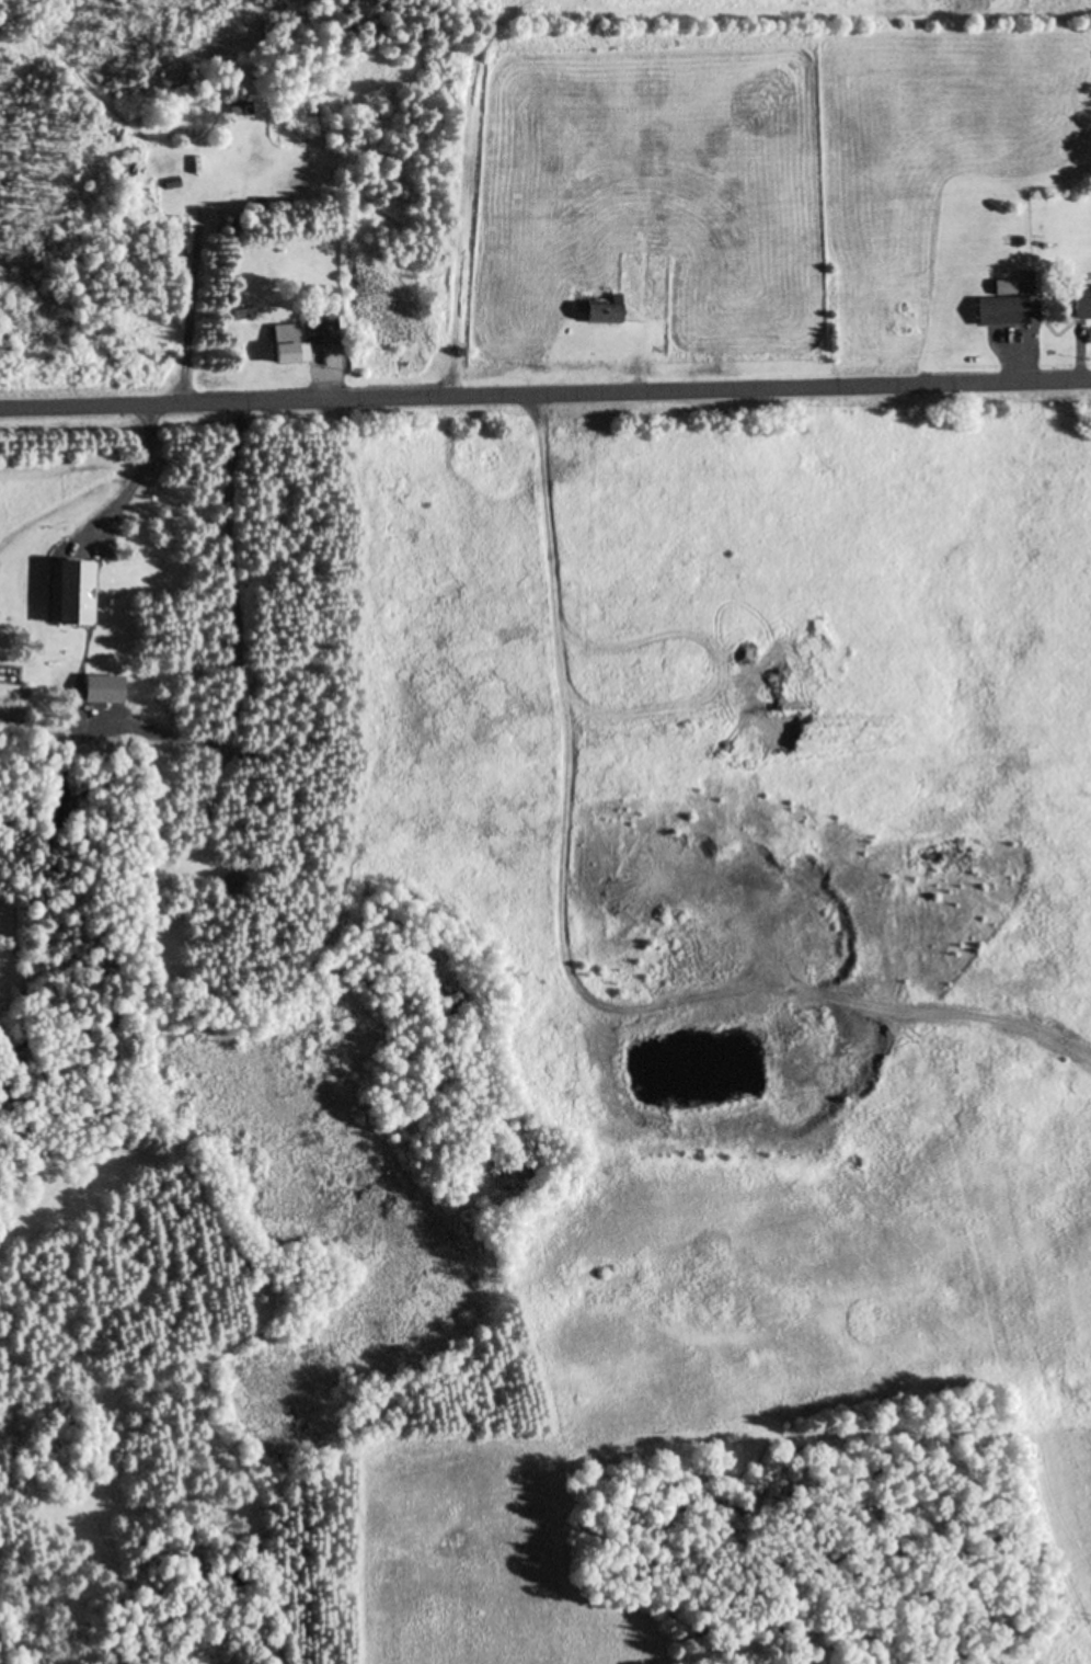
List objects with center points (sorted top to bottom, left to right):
building: (240, 110)
building: (126, 172)
building: (1081, 304)
building: (1011, 306)
building: (601, 316)
building: (325, 331)
building: (289, 345)
road: (545, 390)
building: (231, 884)

